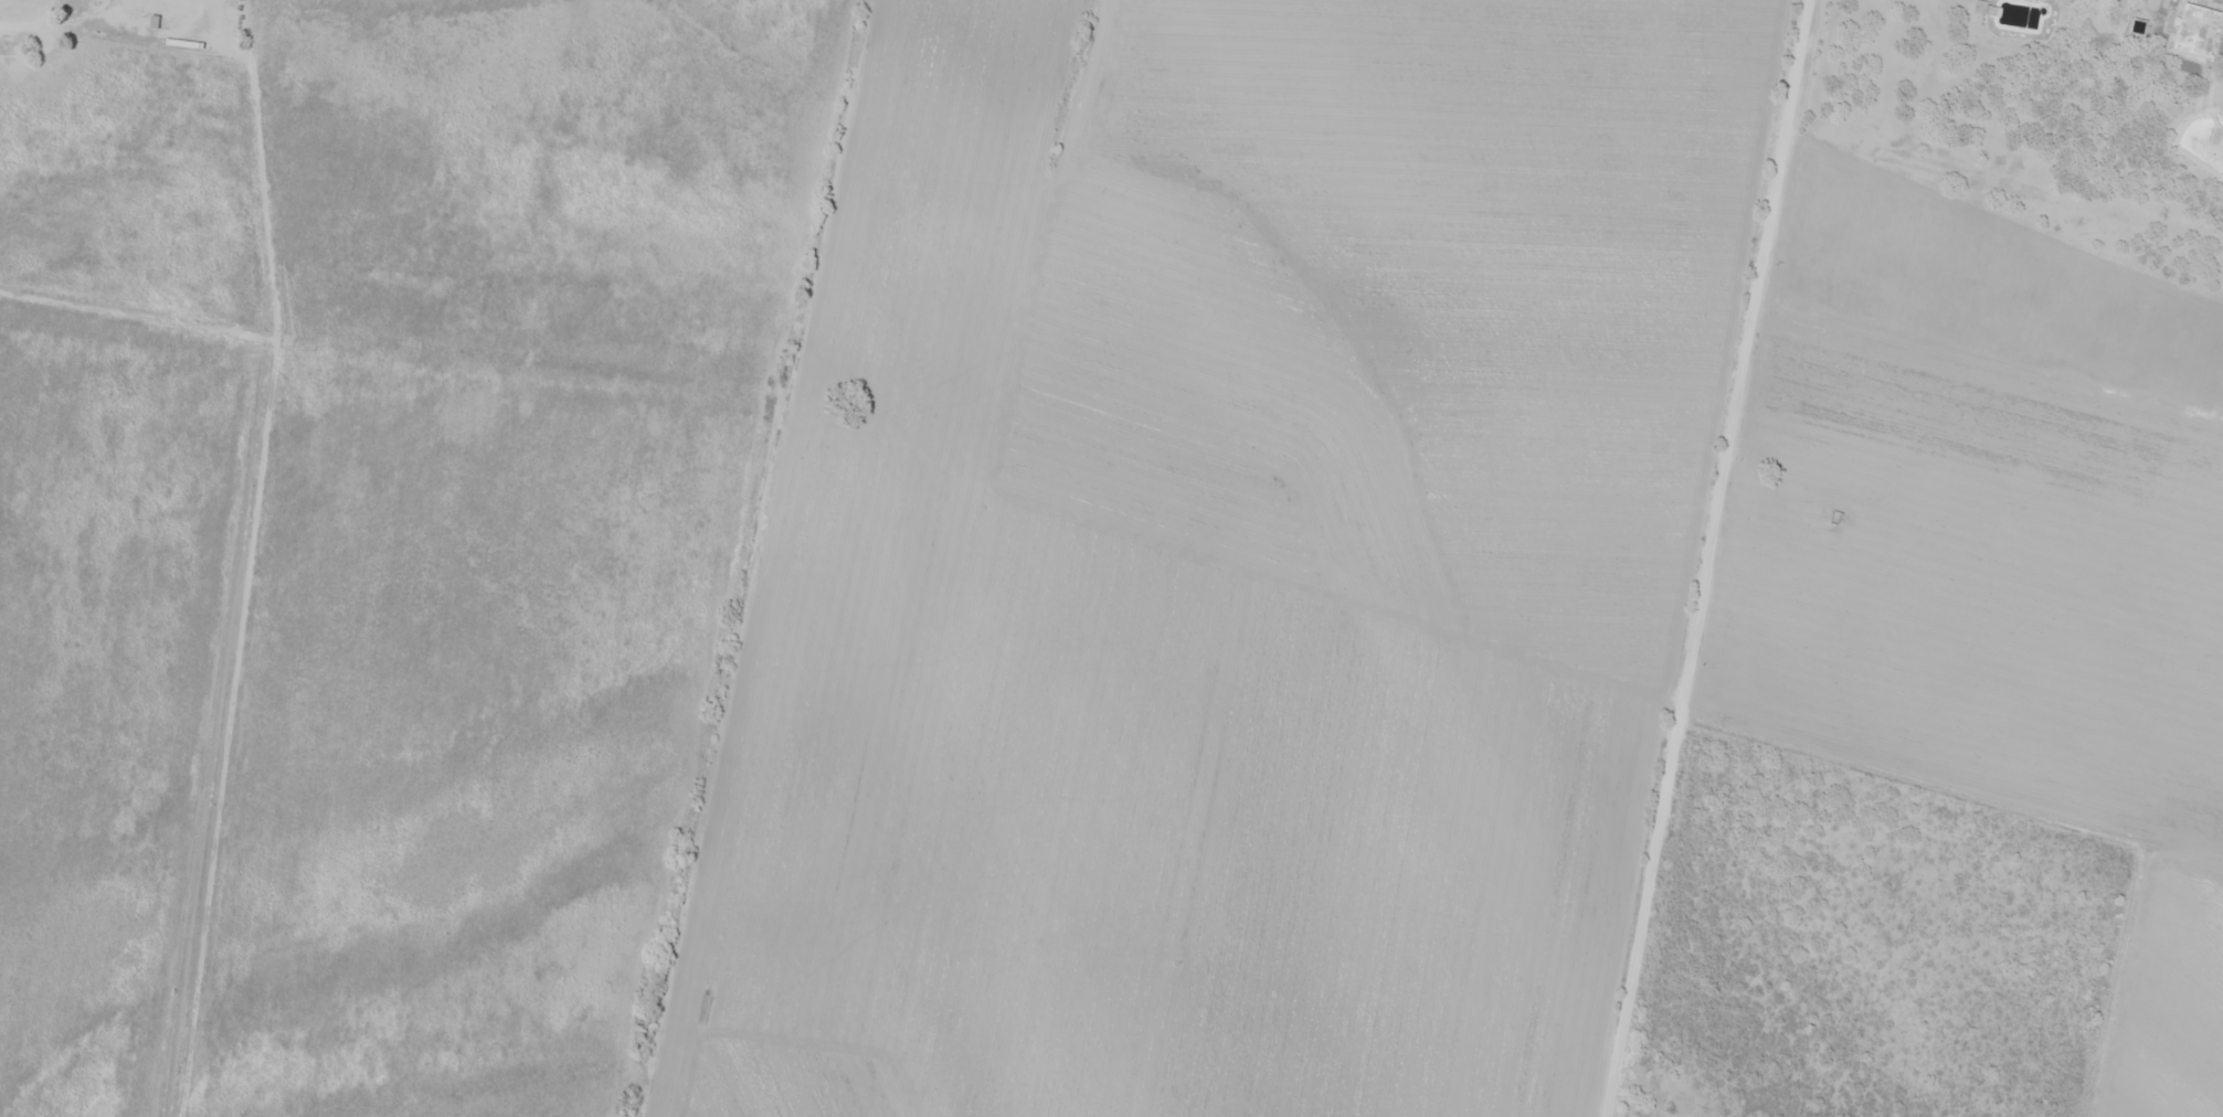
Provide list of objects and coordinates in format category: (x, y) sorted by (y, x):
road: (1711, 558)

